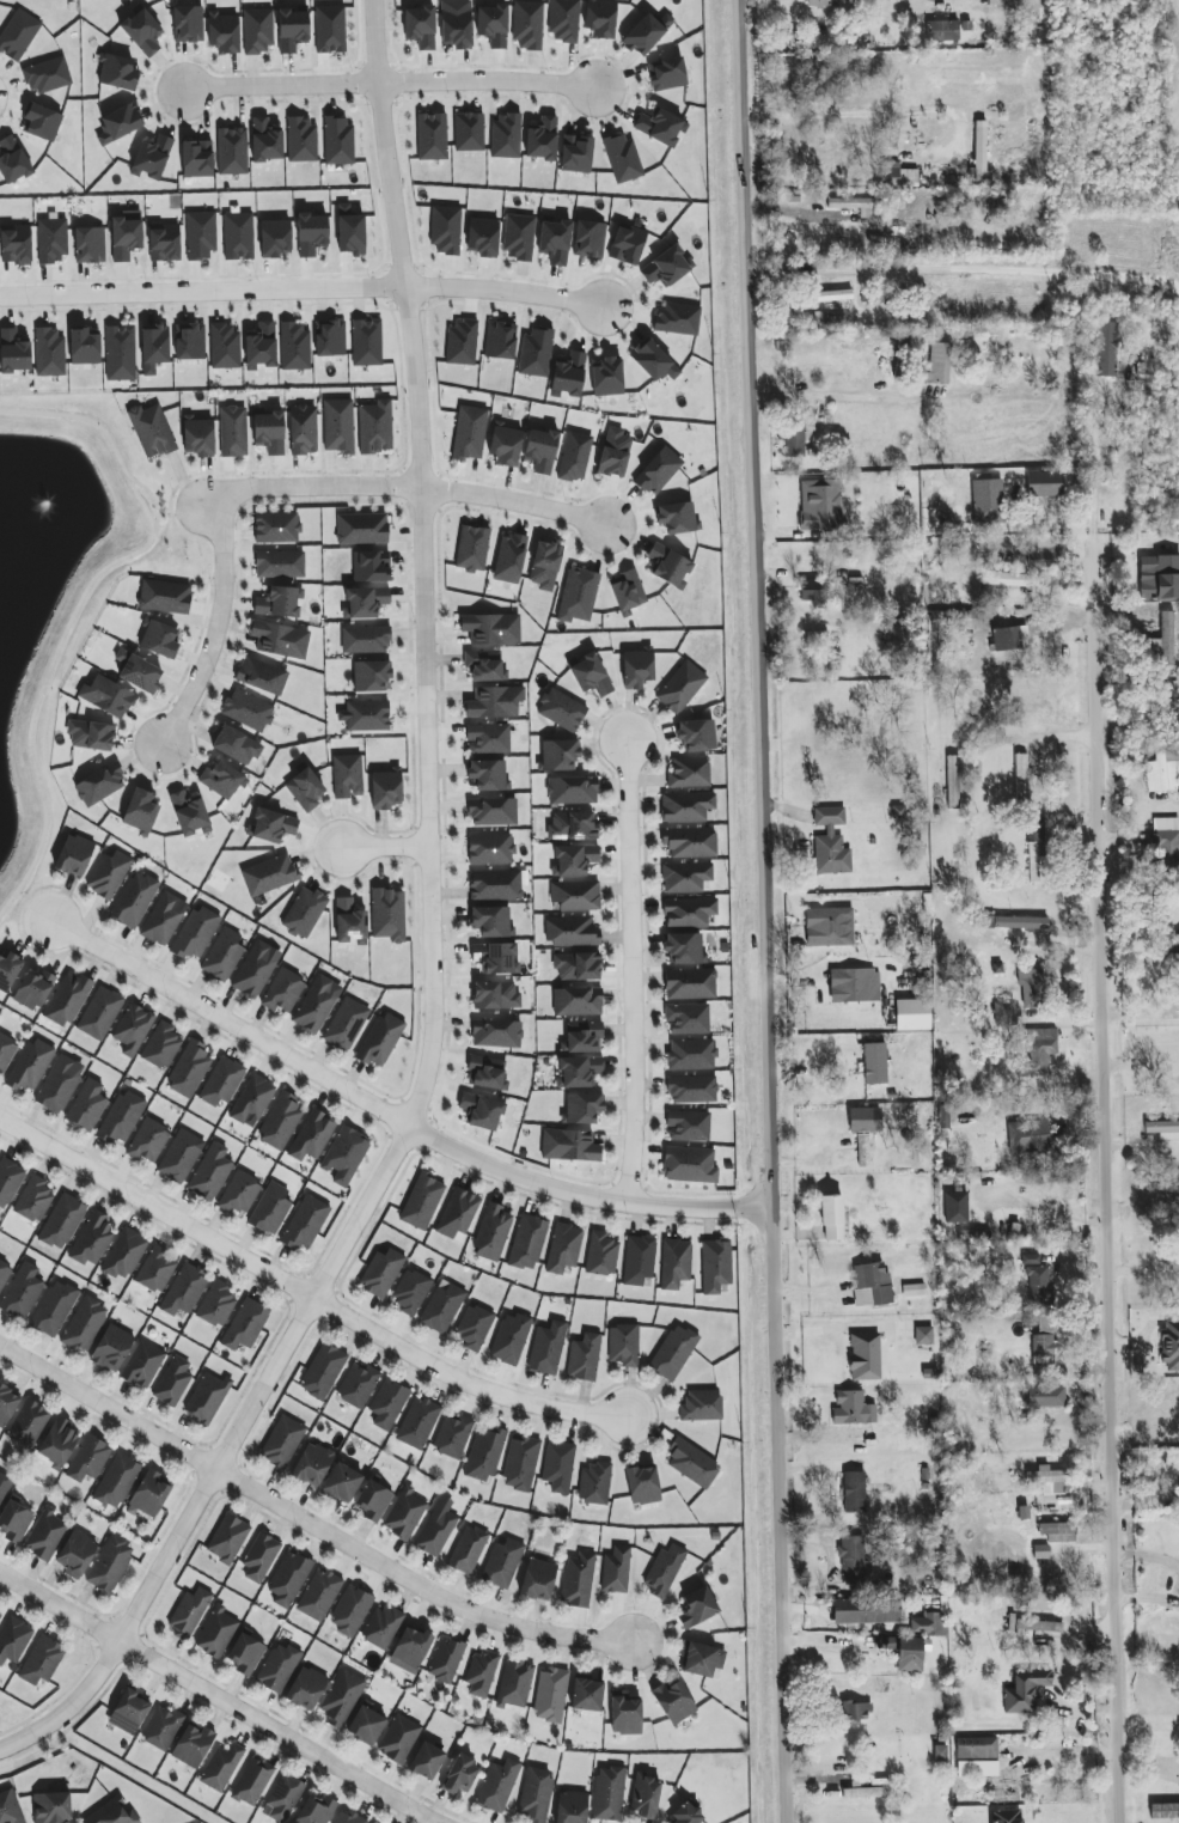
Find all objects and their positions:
building: (829, 2)
building: (600, 19)
road: (793, 19)
building: (564, 20)
building: (188, 24)
building: (493, 25)
building: (529, 25)
building: (420, 26)
building: (942, 28)
building: (330, 29)
building: (456, 29)
building: (292, 30)
building: (142, 31)
building: (257, 31)
building: (224, 32)
building: (18, 35)
building: (643, 35)
building: (817, 39)
building: (117, 73)
building: (667, 73)
building: (48, 75)
road: (395, 84)
road: (887, 112)
building: (42, 122)
building: (120, 123)
building: (660, 127)
building: (469, 132)
building: (432, 136)
building: (506, 136)
building: (301, 139)
building: (542, 139)
building: (338, 140)
building: (265, 141)
building: (232, 151)
building: (979, 153)
building: (576, 154)
building: (152, 158)
building: (197, 158)
building: (622, 158)
building: (12, 160)
building: (898, 176)
building: (854, 205)
building: (446, 230)
building: (350, 231)
building: (311, 233)
building: (126, 234)
building: (201, 234)
building: (238, 236)
building: (483, 237)
building: (519, 237)
building: (275, 238)
building: (51, 239)
building: (589, 239)
building: (164, 242)
building: (554, 242)
building: (628, 244)
building: (90, 245)
building: (16, 246)
building: (667, 267)
road: (966, 270)
road: (303, 289)
building: (833, 295)
building: (824, 318)
building: (676, 319)
building: (330, 339)
building: (500, 340)
building: (190, 341)
building: (366, 342)
building: (460, 343)
building: (225, 346)
building: (294, 346)
building: (84, 347)
building: (261, 347)
building: (154, 348)
building: (1106, 348)
building: (13, 352)
building: (49, 352)
building: (536, 352)
building: (120, 353)
building: (653, 361)
building: (937, 364)
building: (568, 376)
building: (607, 377)
road: (830, 397)
building: (338, 426)
building: (375, 427)
building: (303, 429)
building: (152, 431)
building: (233, 432)
building: (269, 432)
building: (470, 433)
building: (198, 437)
building: (794, 441)
building: (505, 446)
building: (540, 450)
building: (615, 452)
building: (575, 457)
road: (1092, 464)
building: (658, 471)
building: (1049, 483)
road: (416, 489)
building: (986, 501)
building: (820, 505)
building: (677, 517)
building: (276, 528)
building: (361, 529)
building: (472, 548)
building: (1044, 557)
building: (509, 559)
building: (280, 563)
building: (545, 565)
building: (371, 566)
building: (668, 566)
building: (1159, 578)
building: (1013, 579)
building: (812, 591)
building: (627, 592)
building: (578, 595)
building: (164, 597)
road: (79, 600)
building: (279, 602)
building: (365, 603)
building: (491, 628)
road: (215, 632)
building: (159, 639)
building: (280, 639)
building: (1010, 639)
building: (1165, 639)
building: (366, 640)
building: (484, 666)
building: (637, 669)
building: (139, 672)
building: (591, 675)
building: (261, 676)
building: (371, 676)
building: (680, 687)
building: (106, 696)
building: (495, 702)
building: (561, 709)
building: (248, 711)
building: (366, 715)
building: (91, 734)
building: (696, 734)
building: (488, 738)
road: (1033, 738)
building: (236, 745)
building: (560, 755)
building: (689, 773)
building: (488, 774)
building: (1160, 774)
building: (347, 776)
building: (1021, 779)
building: (222, 780)
building: (952, 782)
building: (100, 785)
building: (305, 789)
building: (386, 789)
building: (572, 789)
building: (686, 806)
building: (141, 810)
building: (493, 812)
building: (189, 813)
building: (271, 825)
building: (573, 825)
building: (1036, 828)
building: (1167, 841)
building: (690, 842)
building: (831, 842)
road: (387, 848)
building: (490, 848)
building: (74, 855)
building: (574, 860)
building: (1033, 861)
building: (109, 873)
building: (269, 874)
building: (685, 877)
building: (496, 885)
building: (575, 895)
building: (134, 900)
road: (32, 907)
building: (689, 911)
road: (768, 911)
building: (305, 913)
building: (389, 915)
building: (163, 920)
building: (349, 921)
building: (491, 921)
building: (1015, 922)
building: (830, 927)
building: (572, 932)
building: (195, 933)
road: (434, 941)
building: (1178, 943)
building: (685, 947)
building: (222, 955)
building: (495, 958)
building: (578, 967)
road: (631, 968)
building: (256, 969)
building: (8, 970)
building: (690, 983)
building: (854, 986)
building: (1031, 988)
building: (35, 989)
building: (283, 990)
building: (495, 995)
building: (67, 999)
building: (578, 1001)
building: (317, 1004)
building: (100, 1013)
building: (1004, 1013)
building: (912, 1014)
building: (688, 1018)
building: (346, 1024)
building: (133, 1029)
building: (496, 1034)
building: (582, 1037)
building: (380, 1039)
building: (161, 1045)
building: (1040, 1049)
building: (6, 1051)
building: (691, 1054)
building: (874, 1063)
building: (30, 1066)
building: (189, 1069)
building: (579, 1072)
building: (487, 1073)
building: (222, 1081)
building: (60, 1084)
building: (691, 1089)
building: (252, 1100)
building: (87, 1105)
building: (582, 1108)
building: (481, 1111)
building: (121, 1117)
road: (390, 1118)
building: (281, 1121)
building: (688, 1126)
building: (1163, 1129)
building: (312, 1136)
building: (1027, 1136)
building: (148, 1141)
building: (569, 1146)
building: (346, 1156)
building: (179, 1157)
building: (689, 1165)
building: (210, 1172)
building: (8, 1181)
road: (1102, 1183)
building: (240, 1193)
building: (33, 1200)
building: (422, 1201)
building: (955, 1207)
building: (270, 1208)
building: (458, 1213)
building: (832, 1218)
road: (1050, 1220)
building: (62, 1221)
building: (305, 1223)
building: (493, 1232)
building: (92, 1239)
building: (527, 1242)
building: (563, 1248)
building: (124, 1254)
building: (601, 1254)
building: (639, 1260)
building: (674, 1263)
building: (715, 1266)
building: (157, 1270)
building: (4, 1272)
building: (381, 1272)
building: (1036, 1279)
building: (872, 1285)
building: (184, 1291)
building: (914, 1291)
building: (22, 1292)
building: (411, 1292)
road: (305, 1298)
building: (216, 1304)
building: (54, 1307)
building: (442, 1307)
building: (245, 1324)
building: (84, 1325)
building: (474, 1327)
building: (923, 1335)
building: (511, 1339)
building: (1171, 1343)
building: (623, 1345)
building: (112, 1348)
building: (548, 1348)
building: (1044, 1349)
building: (673, 1352)
building: (865, 1356)
building: (584, 1358)
building: (142, 1365)
building: (323, 1371)
building: (173, 1382)
building: (358, 1385)
building: (1044, 1396)
building: (207, 1398)
building: (387, 1403)
building: (6, 1404)
building: (701, 1406)
building: (853, 1408)
building: (417, 1422)
building: (29, 1423)
building: (452, 1435)
building: (282, 1441)
building: (57, 1444)
building: (484, 1453)
building: (88, 1458)
building: (520, 1463)
building: (692, 1463)
building: (312, 1464)
building: (558, 1467)
building: (1052, 1480)
building: (117, 1481)
building: (342, 1483)
building: (594, 1483)
building: (642, 1484)
building: (4, 1486)
building: (854, 1492)
building: (149, 1494)
building: (373, 1500)
building: (404, 1513)
road: (306, 1519)
building: (14, 1522)
building: (438, 1528)
building: (1058, 1532)
building: (45, 1535)
building: (227, 1538)
building: (468, 1549)
building: (77, 1554)
building: (259, 1557)
building: (851, 1560)
building: (502, 1563)
building: (110, 1565)
building: (664, 1569)
building: (616, 1571)
building: (288, 1579)
building: (538, 1579)
building: (578, 1579)
building: (319, 1595)
building: (697, 1608)
building: (350, 1610)
building: (189, 1612)
building: (866, 1612)
building: (0, 1615)
building: (930, 1624)
building: (1039, 1626)
building: (381, 1627)
building: (216, 1633)
building: (13, 1640)
building: (410, 1650)
building: (906, 1651)
building: (245, 1654)
building: (701, 1659)
building: (42, 1660)
building: (446, 1660)
building: (277, 1667)
building: (481, 1673)
building: (514, 1684)
building: (306, 1688)
building: (1026, 1691)
building: (550, 1695)
building: (586, 1695)
road: (219, 1697)
building: (341, 1697)
building: (673, 1702)
building: (855, 1709)
building: (129, 1712)
building: (625, 1714)
building: (366, 1726)
building: (161, 1727)
building: (398, 1738)
building: (193, 1745)
building: (977, 1748)
building: (940, 1752)
road: (1055, 1754)
building: (426, 1761)
building: (221, 1767)
building: (977, 1768)
building: (460, 1775)
building: (252, 1782)
building: (497, 1786)
building: (609, 1793)
building: (866, 1793)
building: (534, 1795)
building: (645, 1797)
building: (283, 1798)
building: (10, 1807)
building: (51, 1807)
building: (572, 1807)
building: (316, 1810)
building: (1165, 1811)
building: (111, 1813)
building: (688, 1815)
building: (1007, 1816)
building: (347, 1817)

